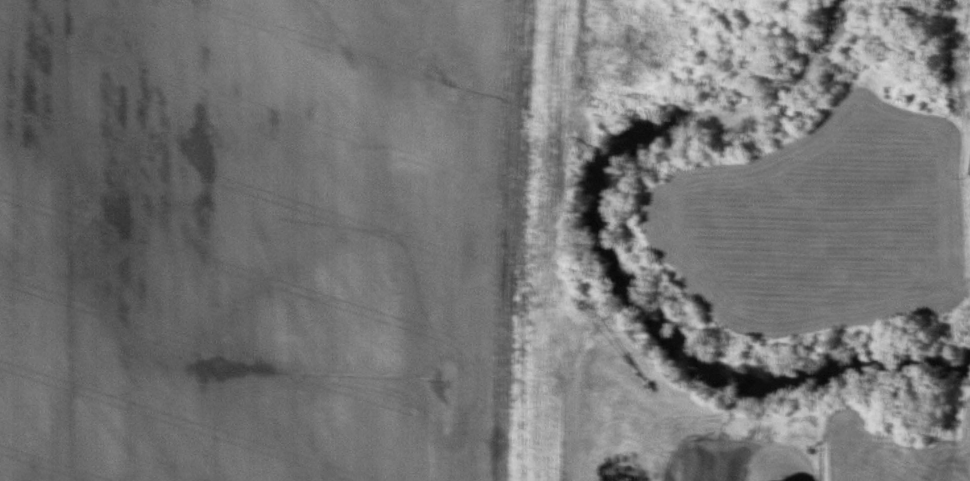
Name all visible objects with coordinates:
building: (968, 162)
crop: (277, 240)

